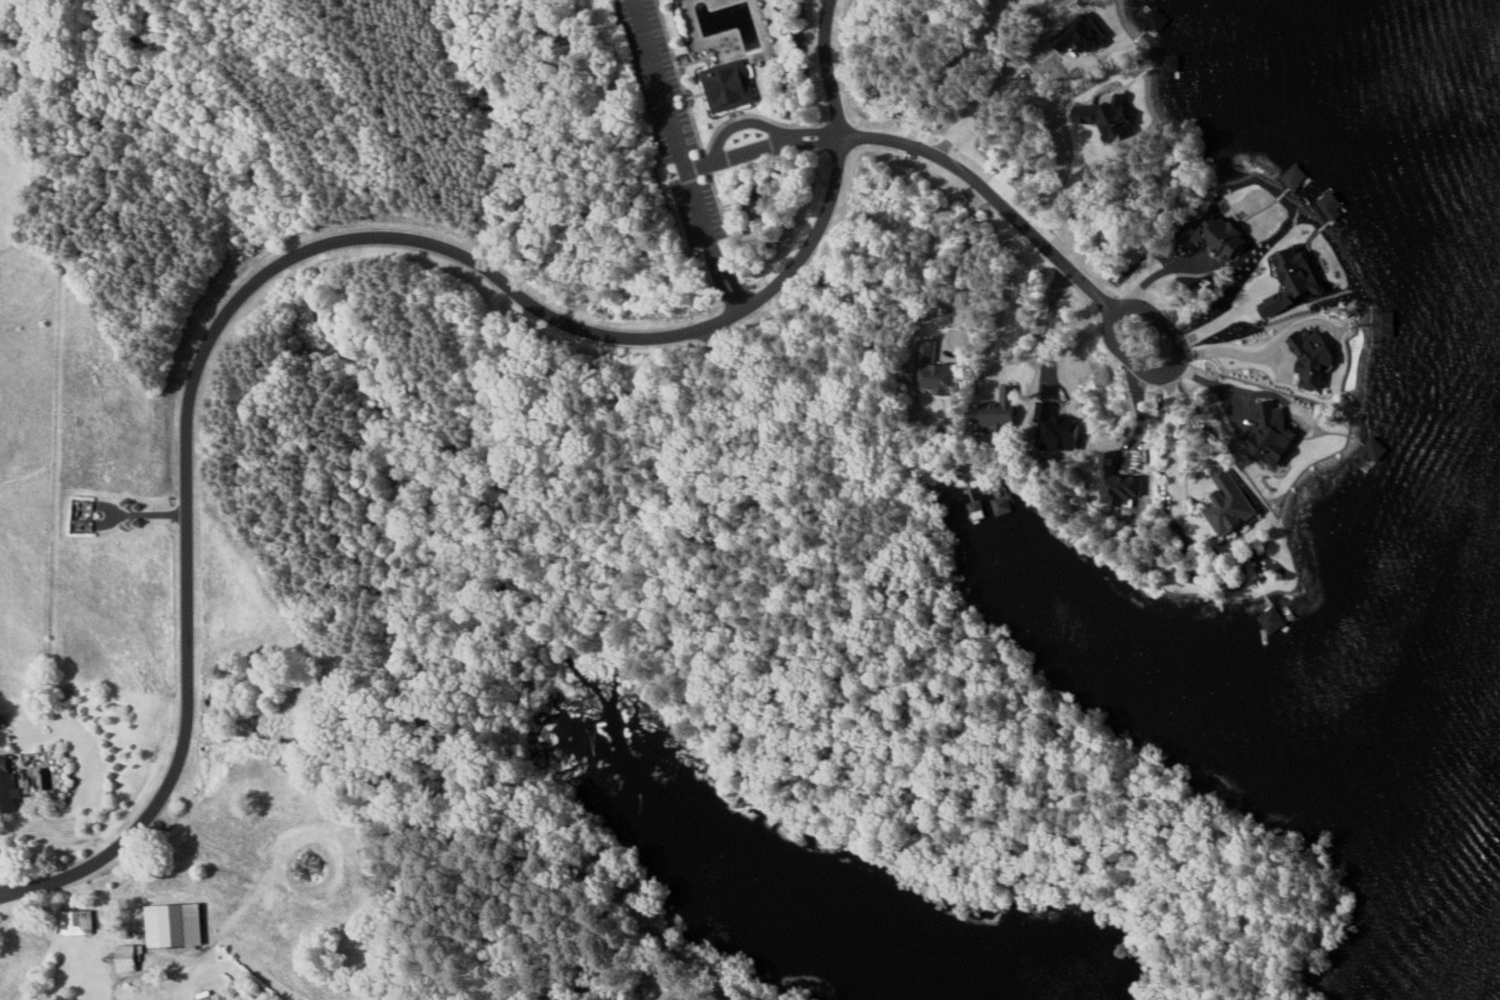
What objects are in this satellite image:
building: (728, 85)
road: (999, 93)
building: (1219, 238)
road: (316, 249)
road: (1071, 271)
building: (1314, 359)
building: (935, 375)
building: (998, 410)
building: (1273, 434)
building: (1372, 450)
building: (1230, 504)
building: (1003, 505)
building: (1273, 620)
building: (9, 788)
building: (74, 921)
building: (173, 924)
building: (126, 957)

